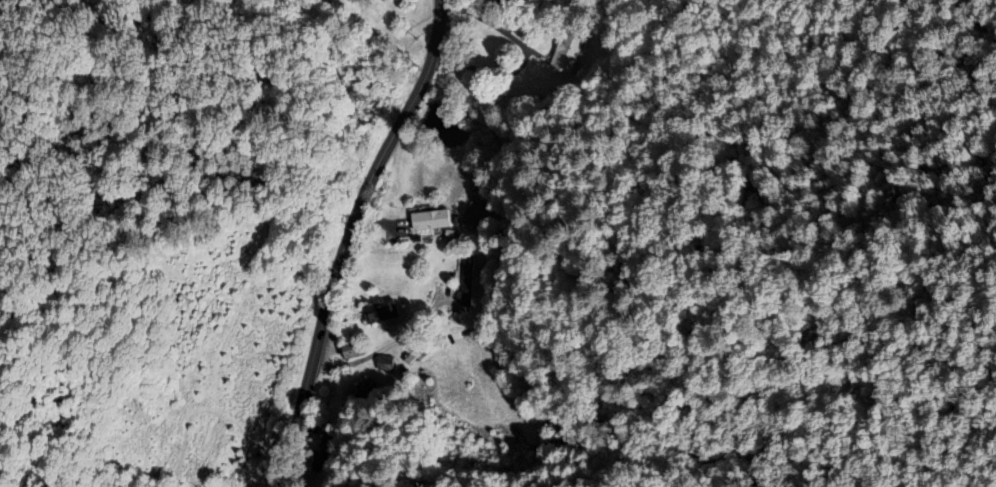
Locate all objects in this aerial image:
building: (567, 54)
road: (524, 55)
building: (534, 83)
building: (474, 214)
building: (429, 219)
road: (346, 237)
building: (379, 312)
road: (381, 351)
building: (350, 352)
building: (383, 362)

